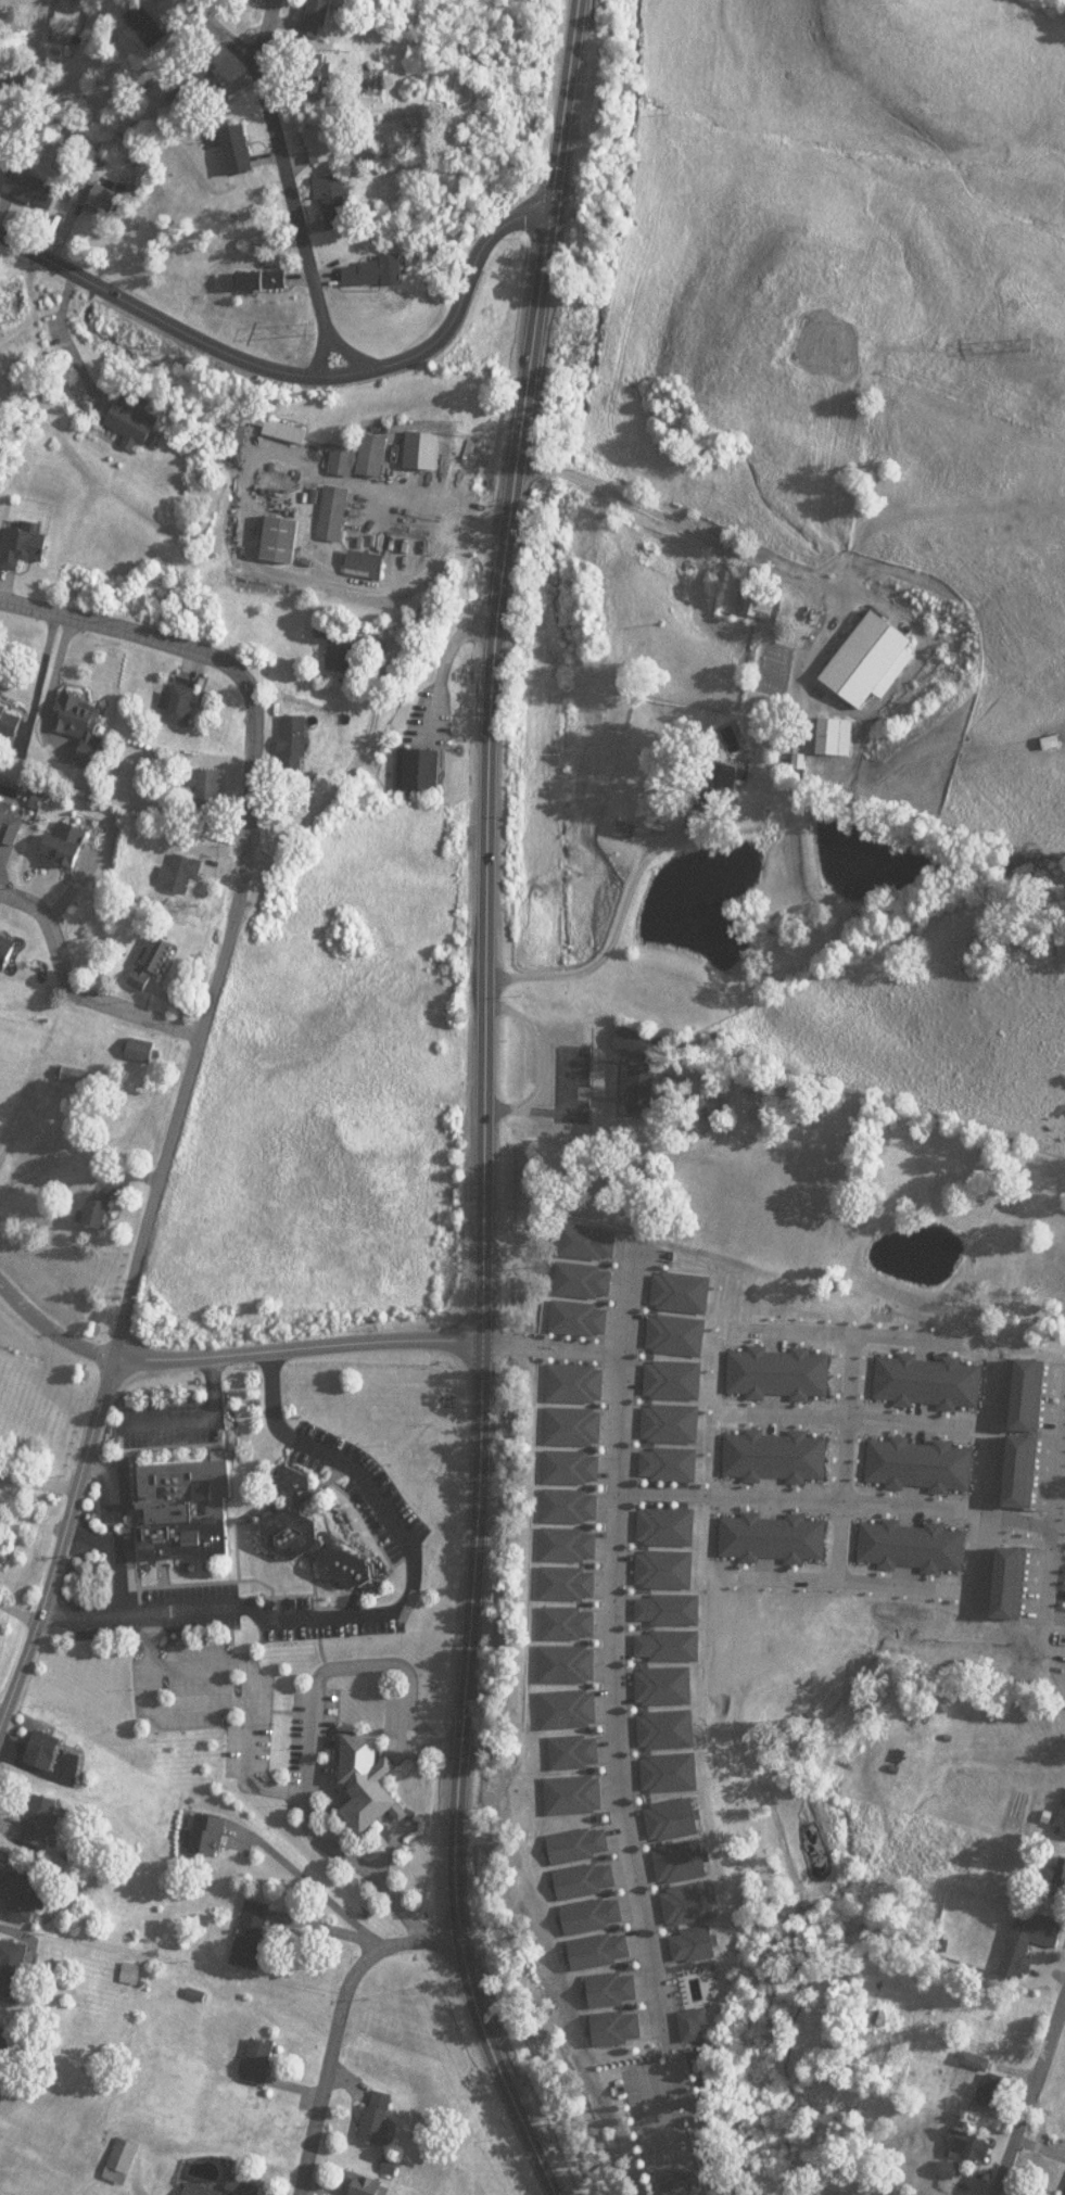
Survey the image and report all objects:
building: (308, 12)
building: (143, 13)
road: (261, 25)
building: (317, 128)
building: (233, 136)
road: (277, 150)
building: (92, 180)
building: (327, 181)
building: (372, 257)
building: (261, 266)
road: (344, 340)
road: (315, 341)
road: (294, 359)
building: (127, 405)
building: (420, 426)
building: (359, 442)
building: (330, 497)
building: (280, 523)
building: (20, 529)
building: (360, 548)
road: (849, 589)
road: (143, 622)
building: (335, 631)
road: (491, 665)
building: (175, 690)
building: (5, 711)
building: (77, 712)
building: (290, 723)
building: (203, 775)
building: (8, 814)
building: (62, 830)
building: (176, 860)
building: (3, 935)
road: (609, 942)
building: (147, 952)
road: (71, 981)
road: (192, 1030)
building: (134, 1035)
building: (64, 1060)
road: (537, 1063)
building: (89, 1197)
road: (53, 1322)
road: (859, 1337)
road: (304, 1341)
road: (558, 1344)
building: (782, 1373)
building: (934, 1378)
road: (490, 1380)
building: (1030, 1396)
road: (200, 1421)
road: (874, 1422)
building: (778, 1458)
road: (849, 1461)
building: (925, 1467)
building: (1025, 1475)
road: (849, 1505)
road: (1052, 1506)
building: (777, 1541)
building: (917, 1549)
road: (63, 1550)
road: (114, 1559)
building: (1015, 1588)
road: (978, 1590)
road: (22, 1613)
road: (389, 1614)
road: (614, 1722)
road: (454, 1816)
road: (334, 2021)
road: (1028, 2101)

